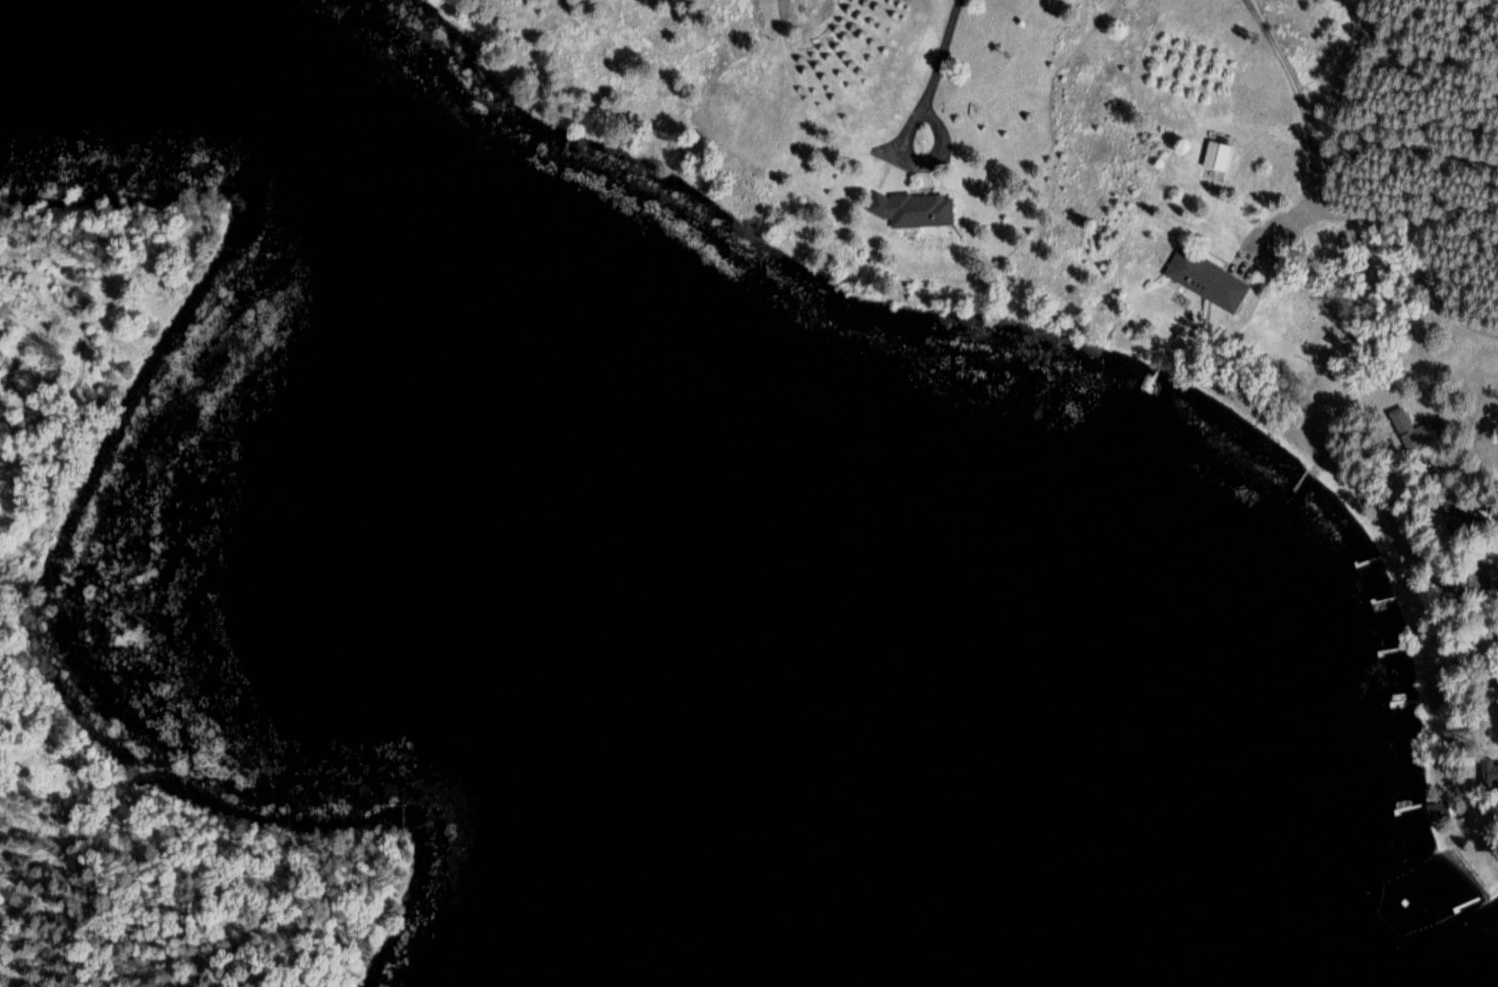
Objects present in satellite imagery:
building: (1218, 155)
building: (916, 208)
building: (1208, 279)
building: (1406, 428)
building: (1436, 810)

